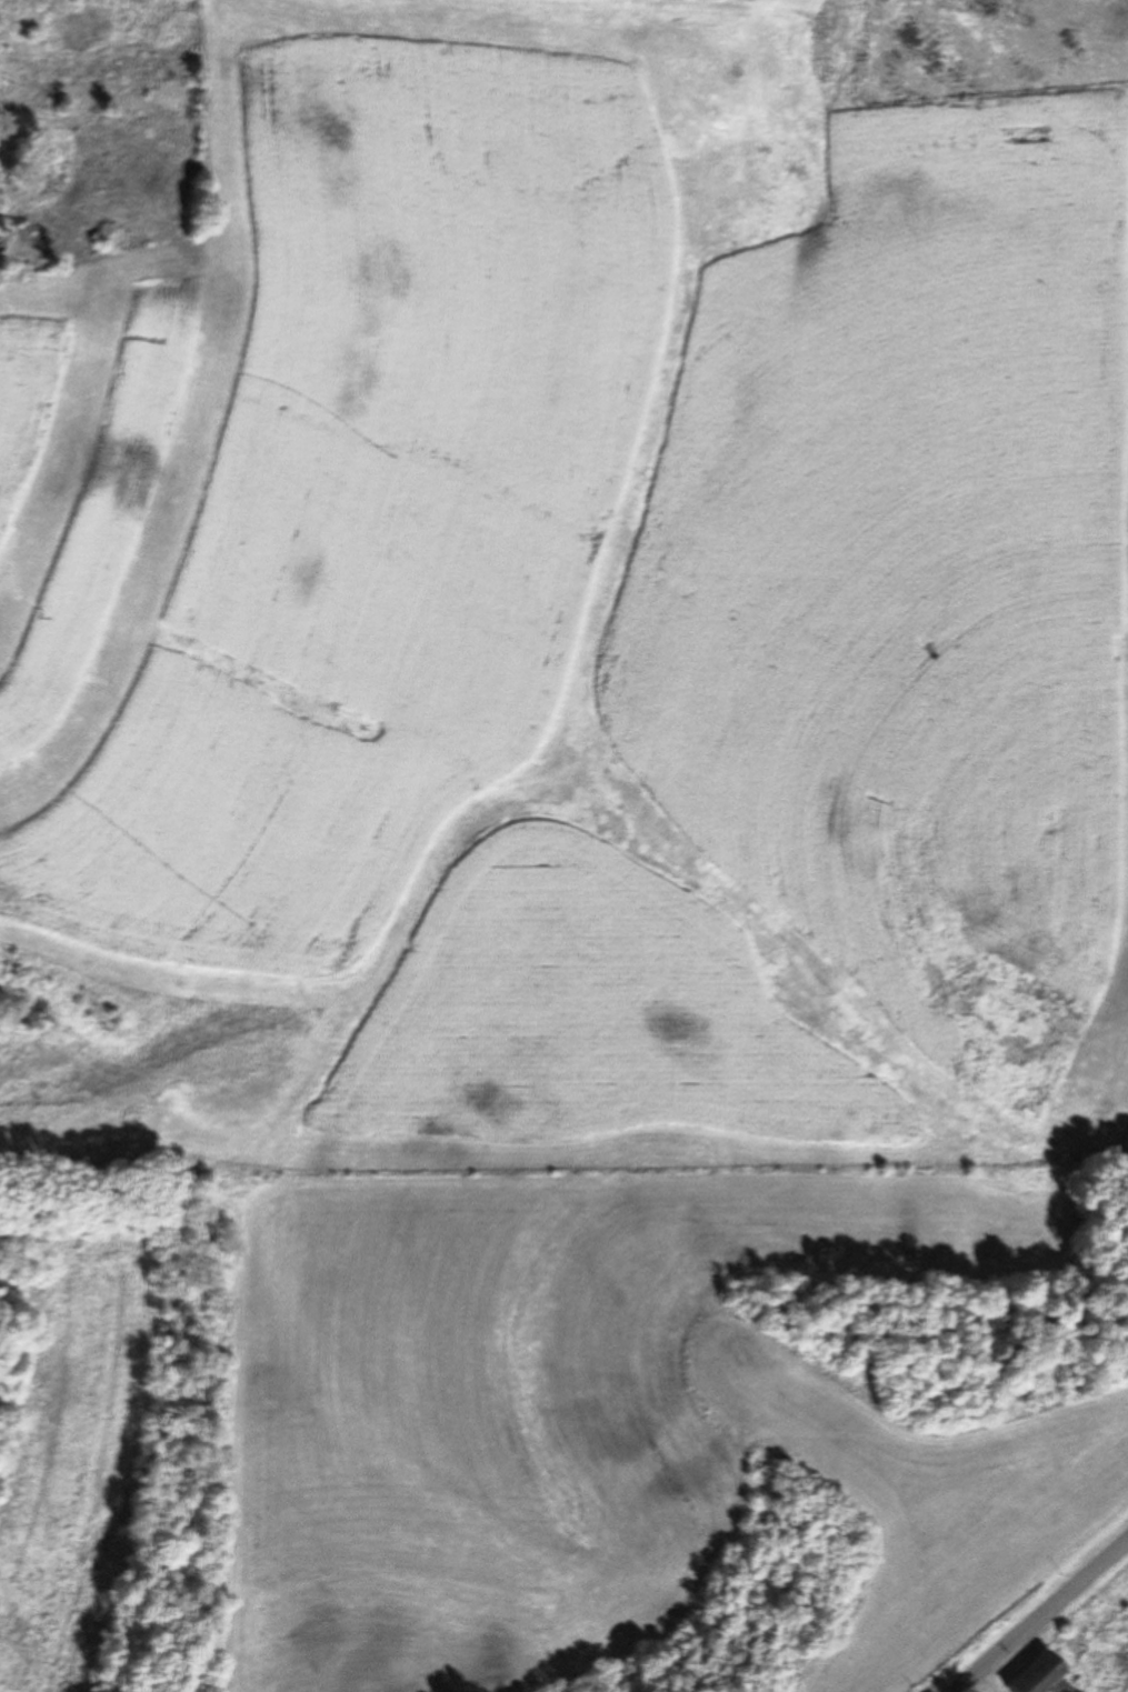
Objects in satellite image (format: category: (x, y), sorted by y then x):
road: (1040, 1616)
building: (1039, 1675)

